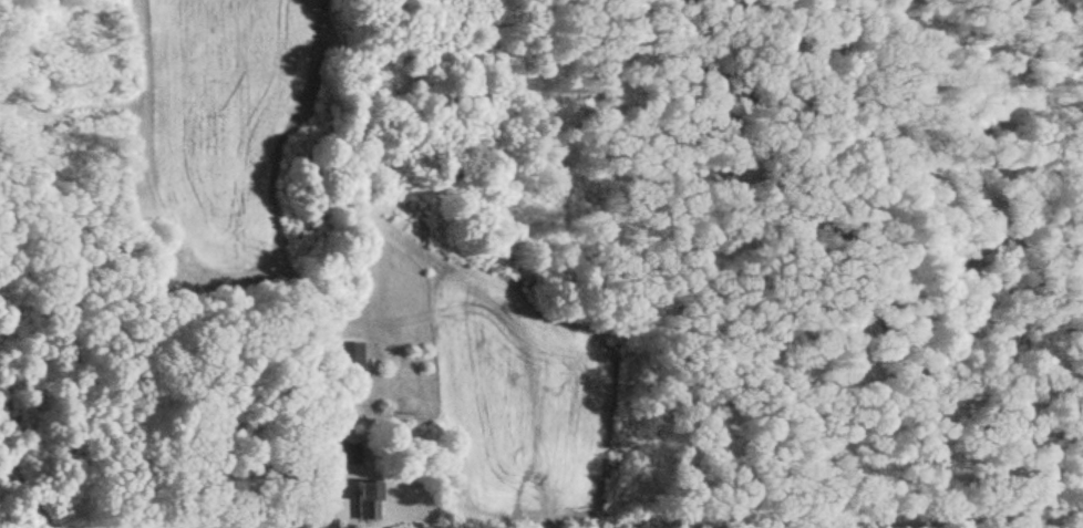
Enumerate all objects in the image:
road: (875, 263)
road: (1074, 263)

